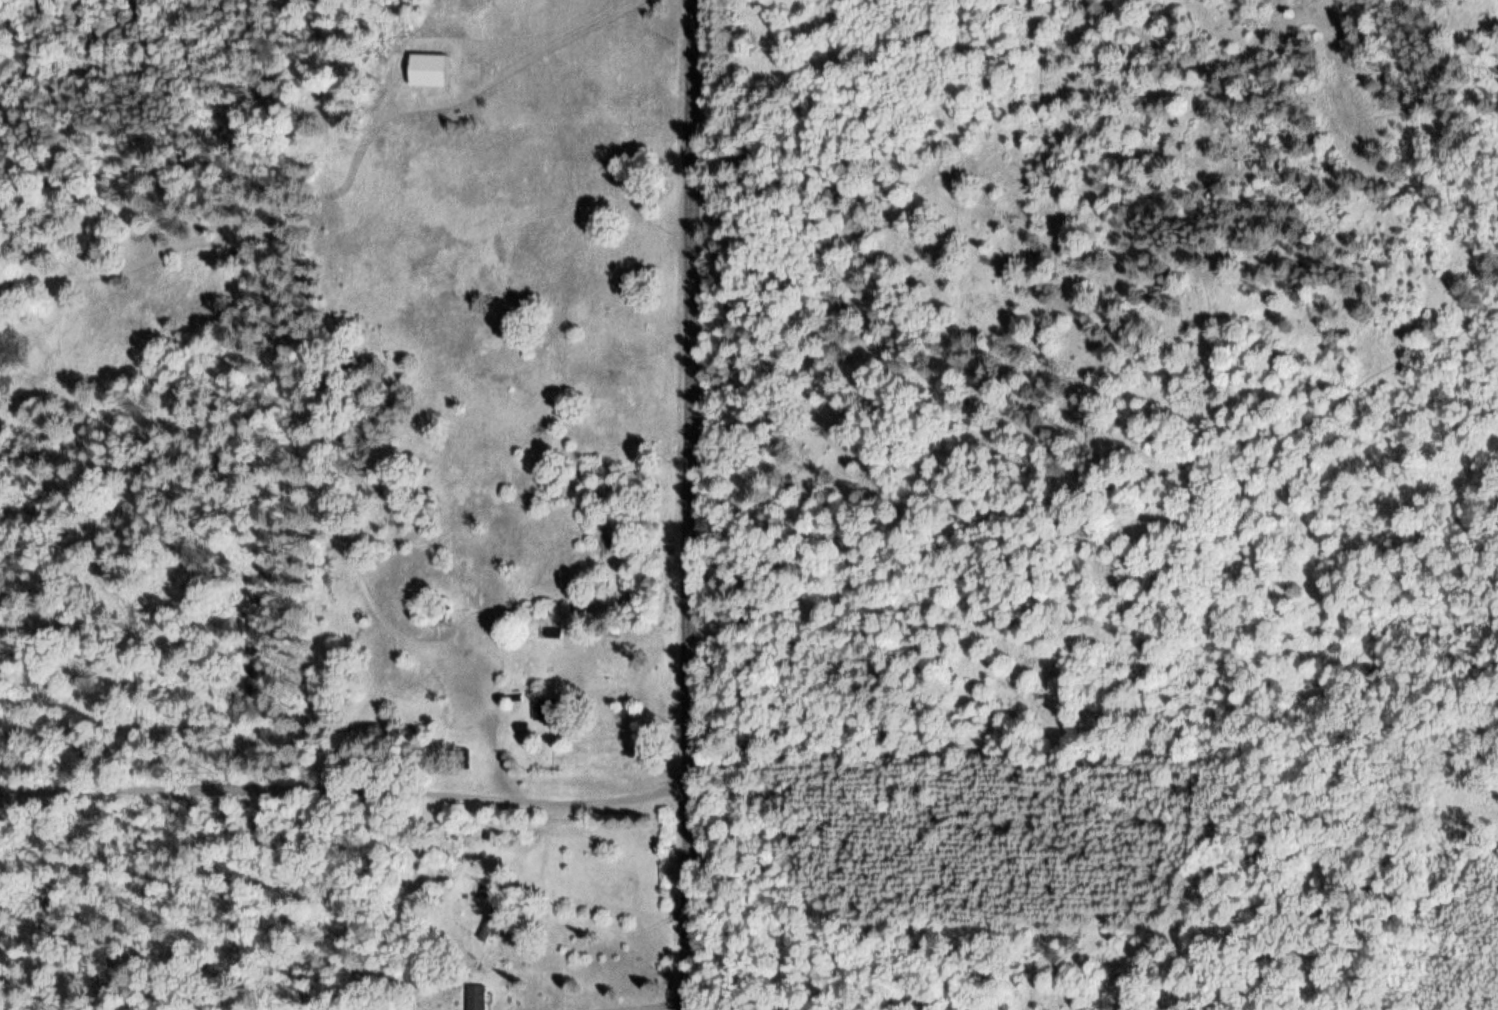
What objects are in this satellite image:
building: (434, 69)
road: (702, 504)
road: (357, 781)

